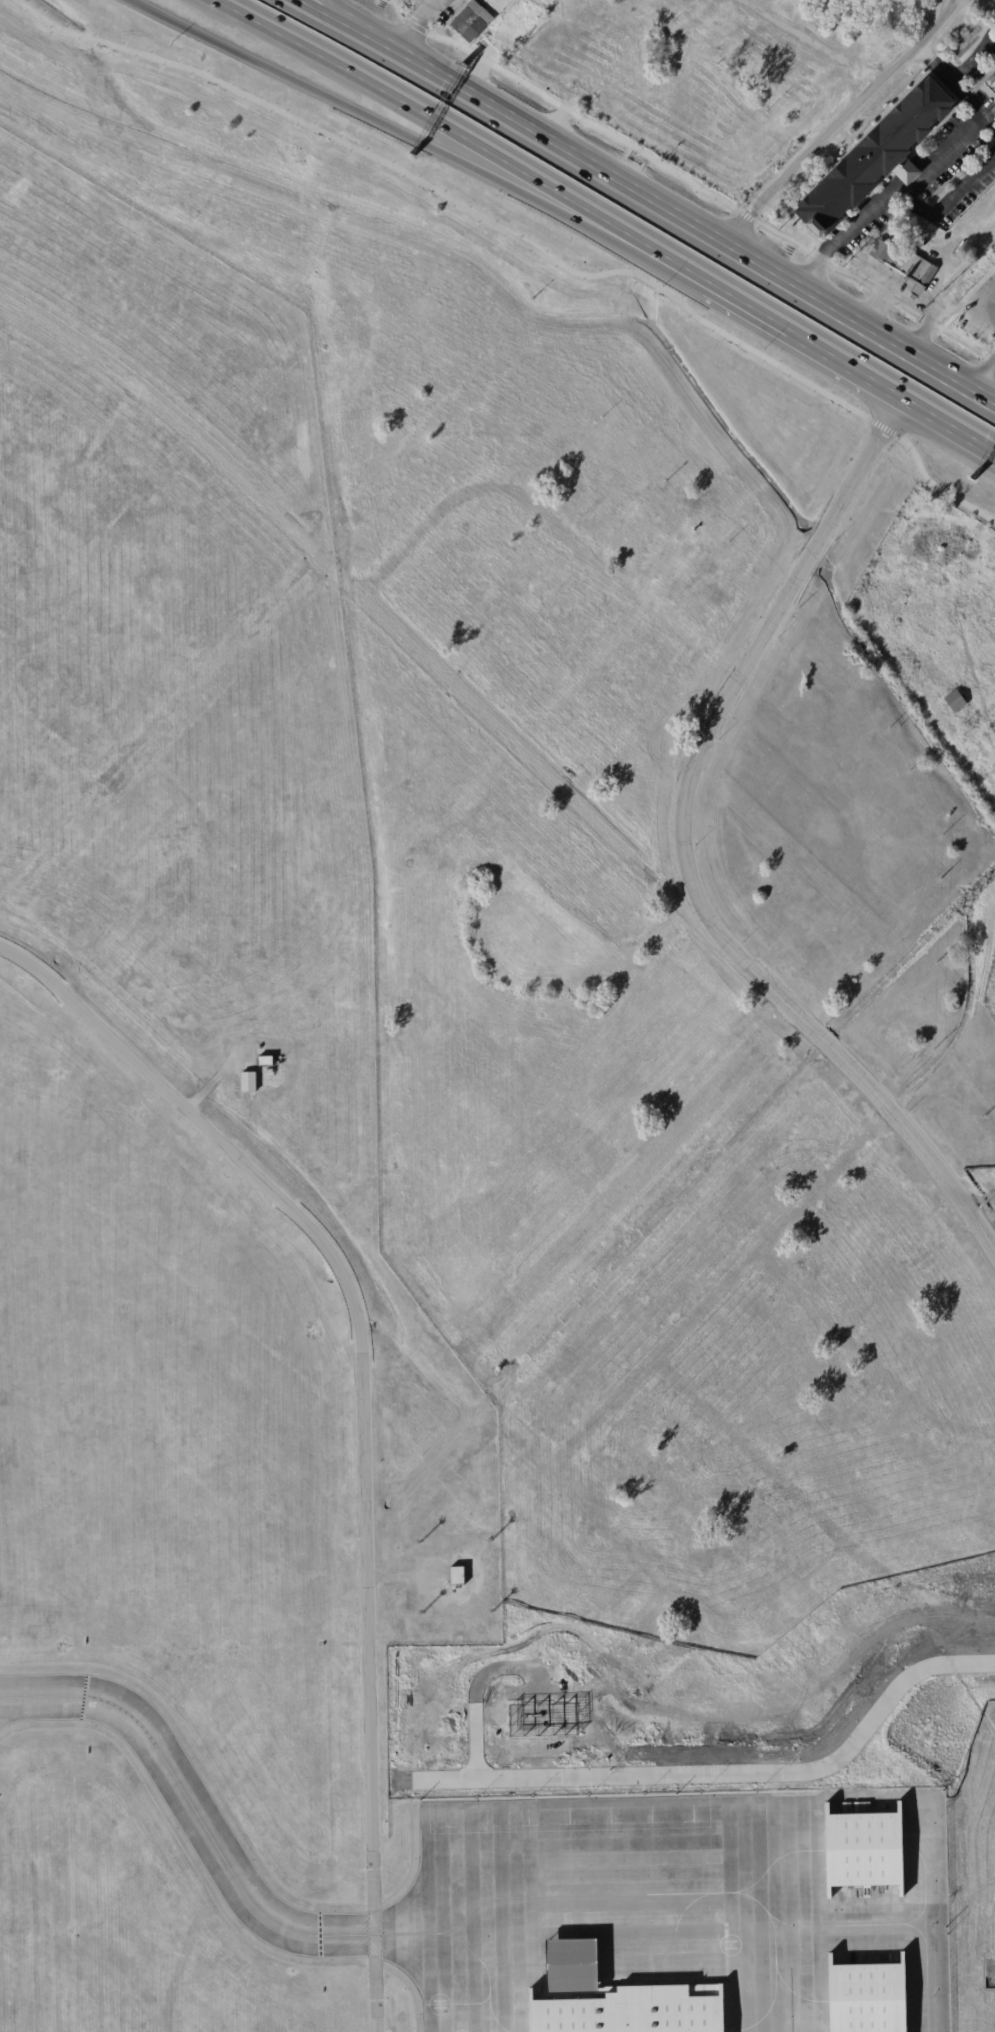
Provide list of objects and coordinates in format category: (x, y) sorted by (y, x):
road: (321, 11)
road: (332, 11)
building: (470, 20)
road: (413, 24)
road: (431, 119)
road: (387, 126)
road: (573, 156)
building: (874, 157)
road: (689, 181)
road: (521, 243)
road: (676, 263)
building: (904, 265)
road: (908, 299)
road: (748, 305)
road: (976, 314)
road: (898, 348)
road: (846, 362)
road: (985, 379)
road: (949, 423)
building: (953, 701)
building: (971, 721)
road: (685, 851)
building: (268, 1061)
building: (270, 1072)
building: (249, 1082)
airport: (470, 1140)
road: (985, 1215)
road: (361, 1416)
building: (461, 1576)
building: (547, 1724)
road: (728, 1772)
building: (862, 1852)
airport apron: (621, 1896)
airport taxiway: (315, 1934)
building: (866, 1998)
building: (617, 1999)

